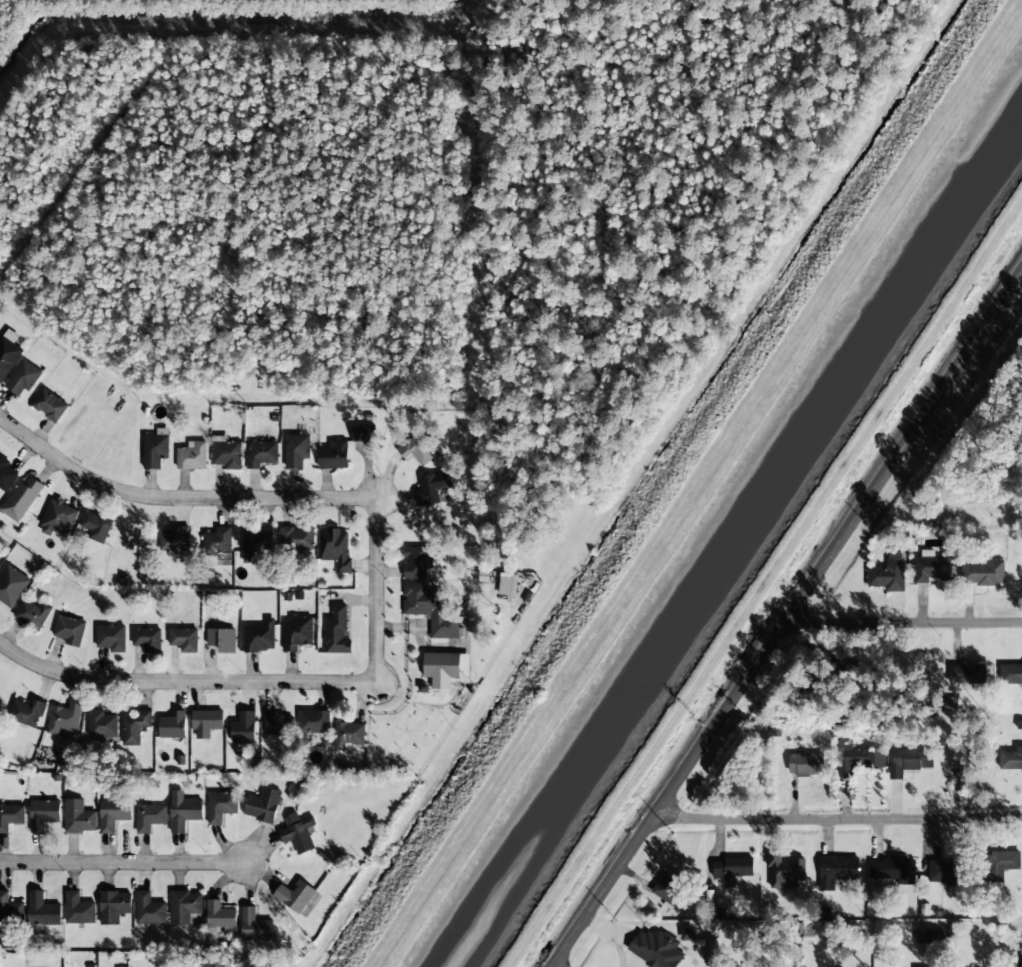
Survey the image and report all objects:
building: (8, 353)
building: (22, 378)
building: (49, 405)
building: (362, 433)
building: (418, 449)
building: (155, 450)
building: (296, 450)
building: (226, 453)
building: (261, 454)
building: (333, 455)
building: (192, 456)
building: (6, 474)
building: (433, 487)
road: (178, 497)
building: (21, 498)
building: (57, 517)
building: (96, 526)
building: (297, 537)
building: (175, 539)
building: (218, 540)
building: (254, 545)
building: (335, 548)
building: (416, 562)
building: (931, 567)
building: (982, 573)
building: (887, 576)
building: (505, 584)
building: (11, 585)
road: (378, 590)
building: (430, 609)
building: (33, 614)
road: (787, 619)
road: (903, 623)
building: (70, 630)
building: (336, 632)
building: (297, 633)
building: (111, 637)
building: (259, 637)
building: (147, 639)
building: (184, 639)
building: (222, 639)
building: (446, 665)
building: (967, 675)
road: (184, 680)
building: (27, 712)
building: (65, 717)
building: (313, 721)
building: (206, 722)
building: (278, 723)
building: (102, 724)
building: (173, 726)
building: (135, 727)
building: (243, 728)
building: (348, 736)
building: (965, 758)
building: (856, 759)
building: (1011, 759)
building: (909, 760)
building: (805, 764)
building: (263, 805)
building: (221, 806)
building: (183, 811)
building: (113, 813)
building: (43, 814)
building: (11, 816)
building: (150, 816)
building: (78, 817)
road: (838, 817)
building: (298, 832)
road: (123, 861)
building: (1003, 864)
building: (732, 869)
building: (892, 869)
building: (784, 871)
building: (836, 871)
building: (943, 872)
building: (668, 889)
building: (295, 895)
building: (113, 906)
building: (184, 906)
building: (10, 908)
building: (78, 909)
building: (149, 909)
building: (42, 910)
building: (219, 915)
building: (255, 930)
building: (687, 934)
building: (923, 935)
building: (655, 949)
building: (1021, 962)

